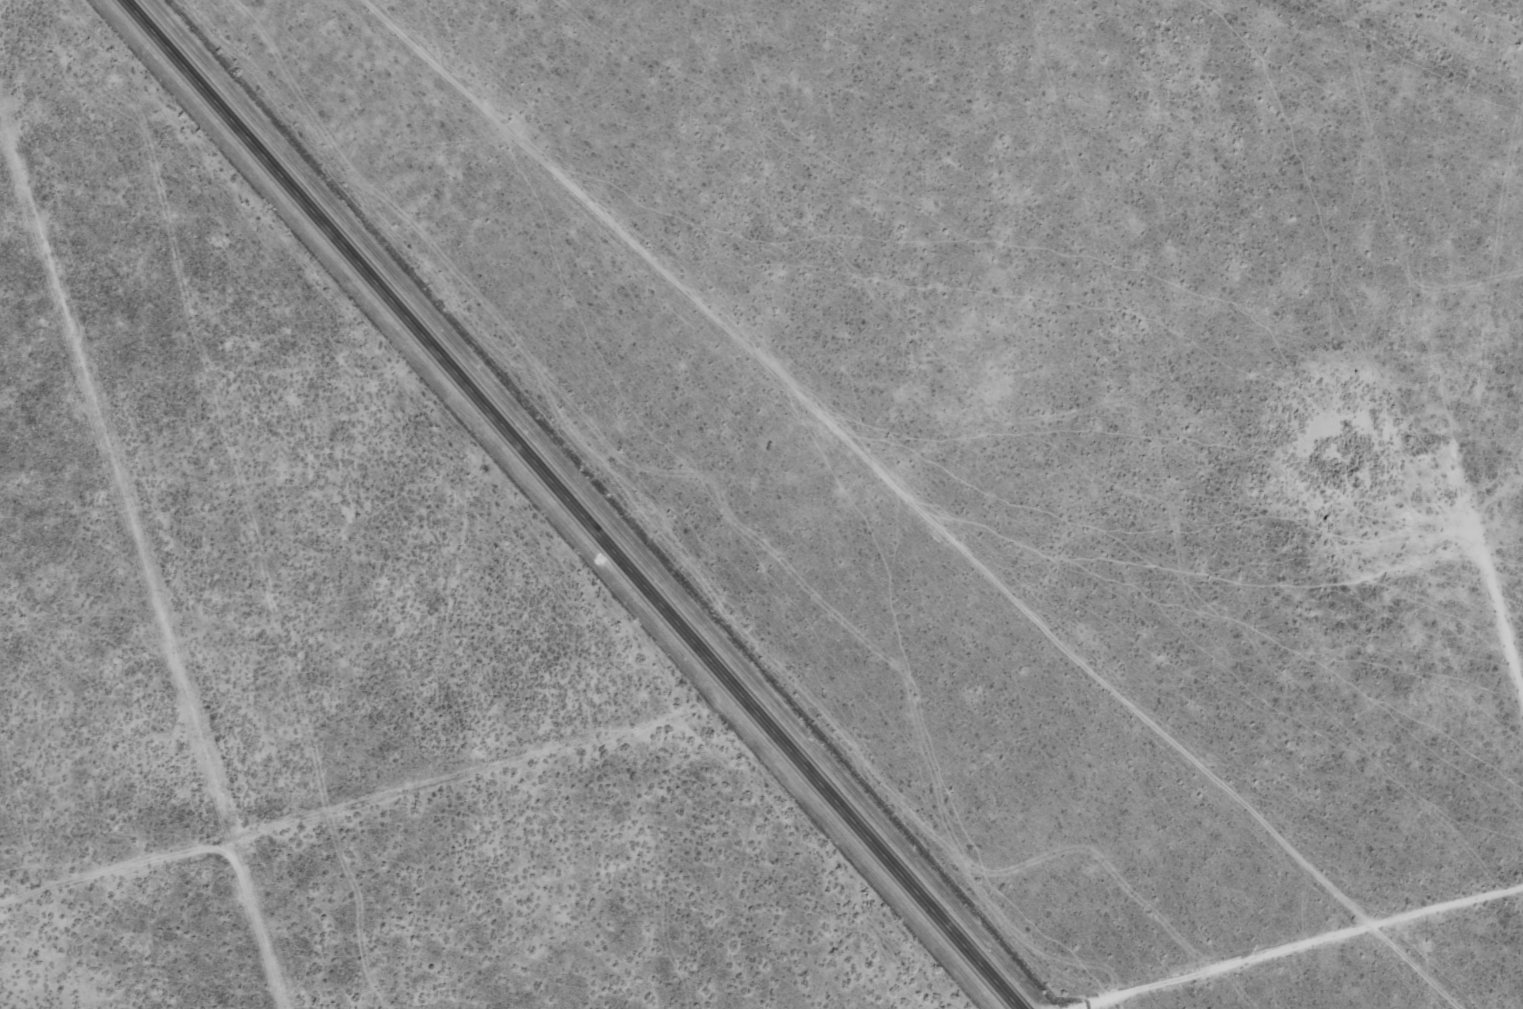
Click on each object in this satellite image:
road: (573, 503)
road: (381, 823)

